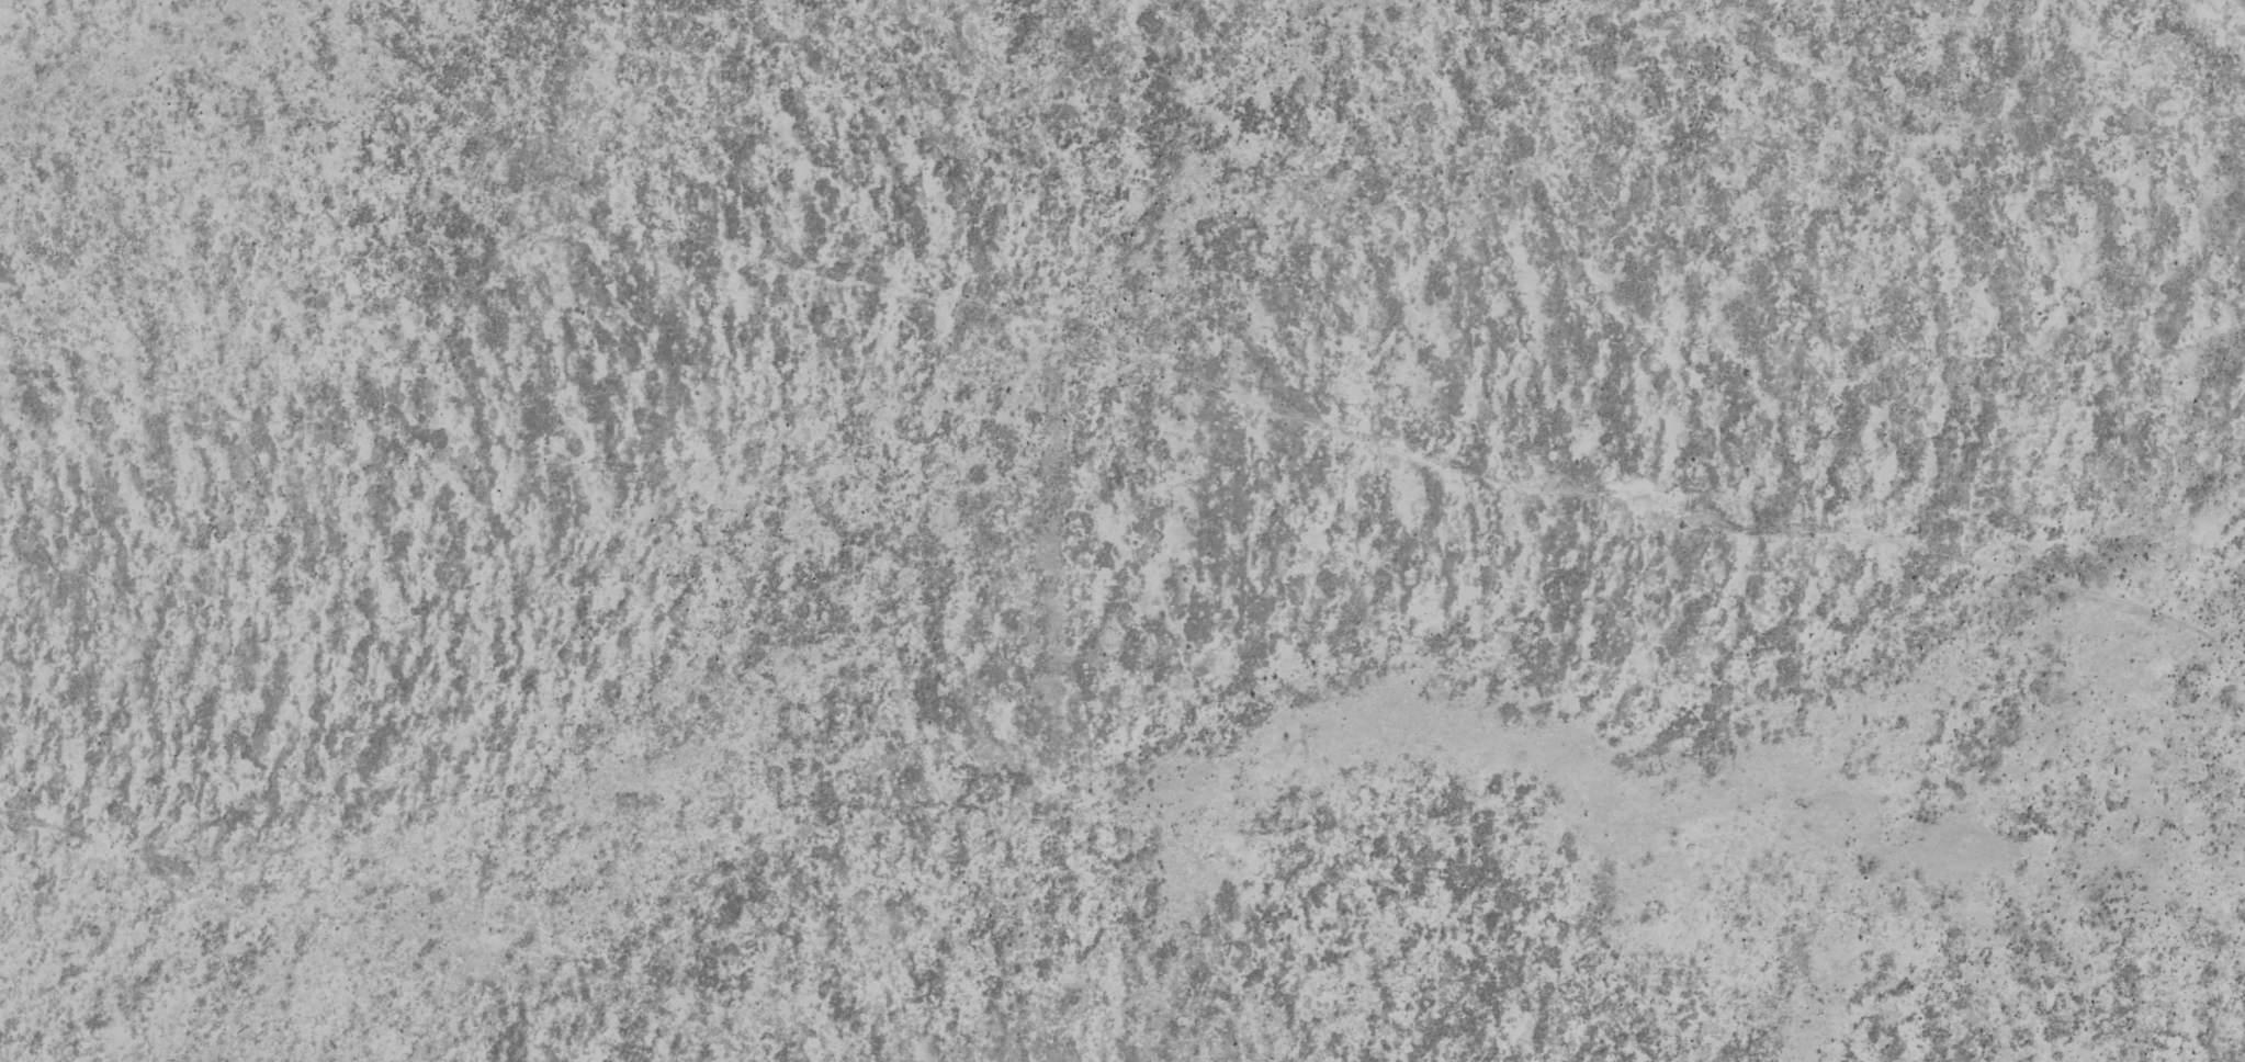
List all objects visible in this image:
road: (2218, 29)

